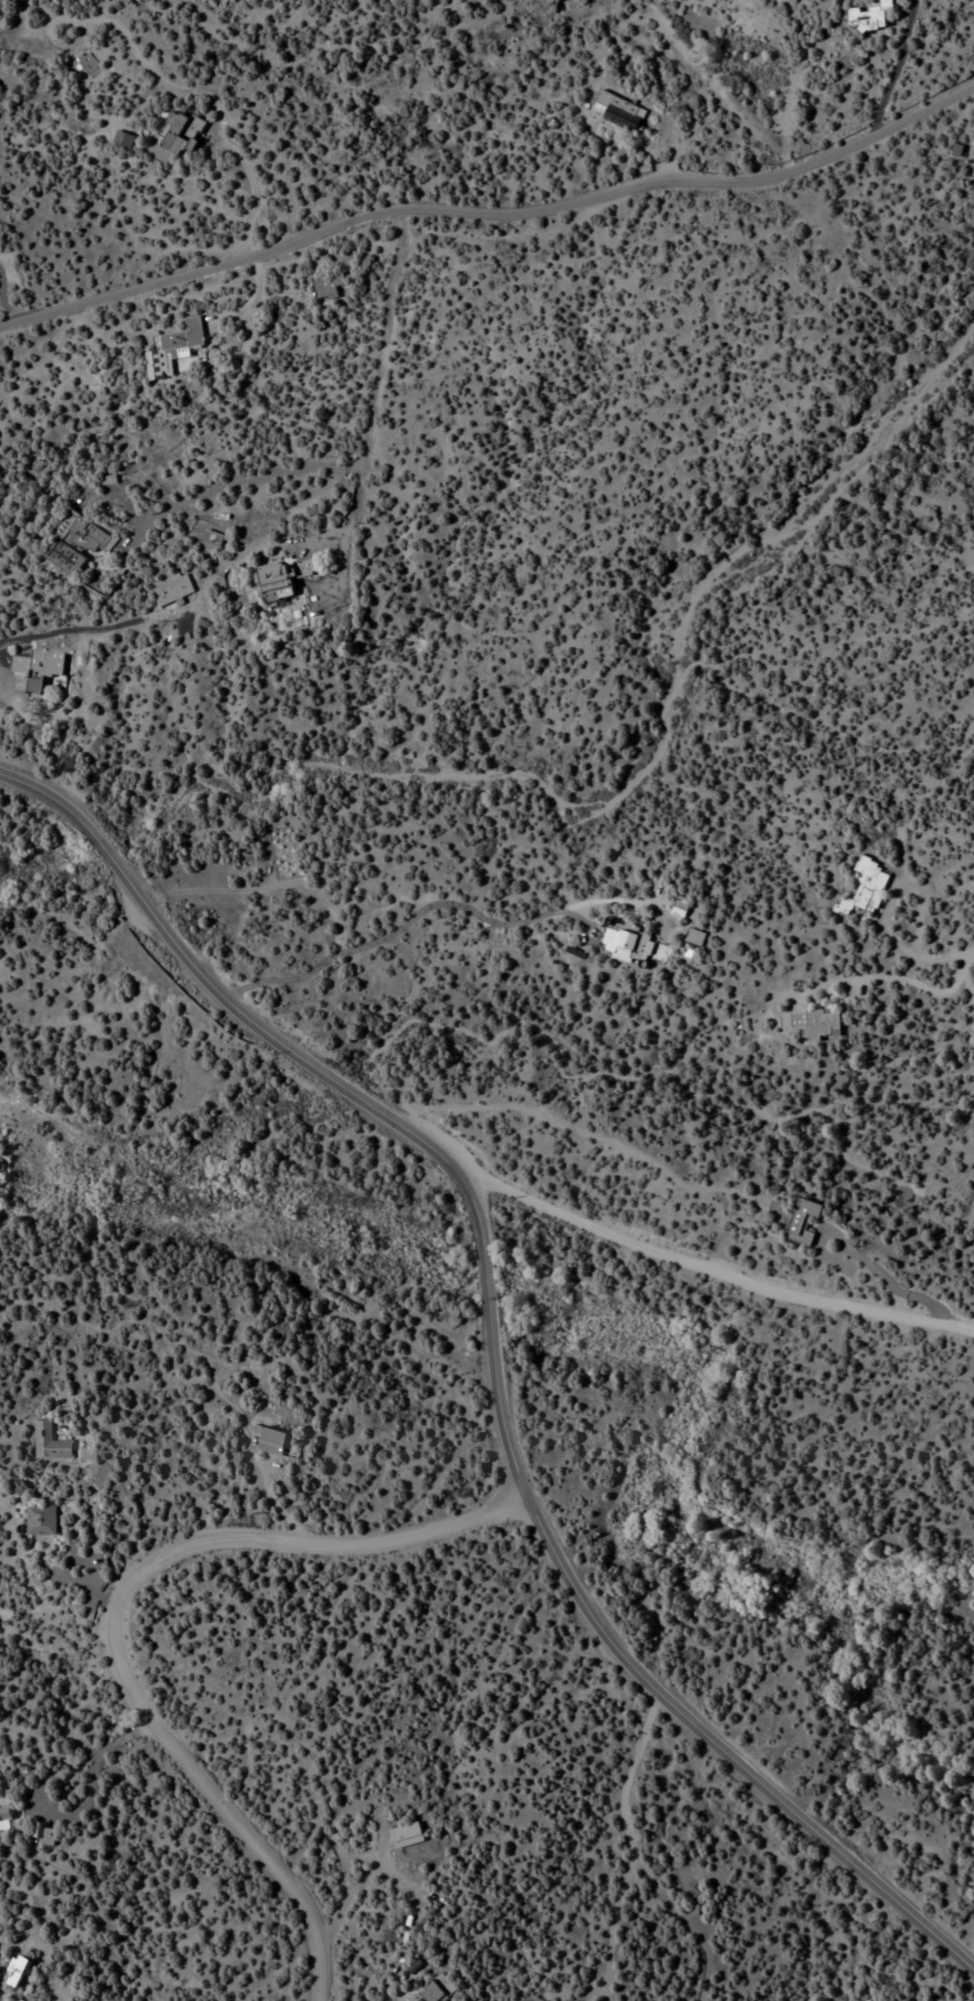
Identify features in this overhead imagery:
building: (867, 16)
building: (617, 112)
building: (187, 127)
building: (132, 134)
road: (490, 212)
building: (211, 539)
road: (327, 539)
building: (80, 540)
building: (279, 578)
building: (174, 589)
building: (39, 667)
building: (861, 888)
building: (678, 905)
road: (414, 913)
building: (621, 942)
road: (248, 1014)
building: (808, 1022)
building: (798, 1221)
road: (713, 1272)
road: (485, 1288)
building: (275, 1440)
building: (51, 1442)
building: (43, 1519)
road: (117, 1614)
road: (656, 1694)
building: (6, 1813)
building: (404, 1836)
road: (629, 1847)
building: (21, 1968)
building: (435, 1989)

